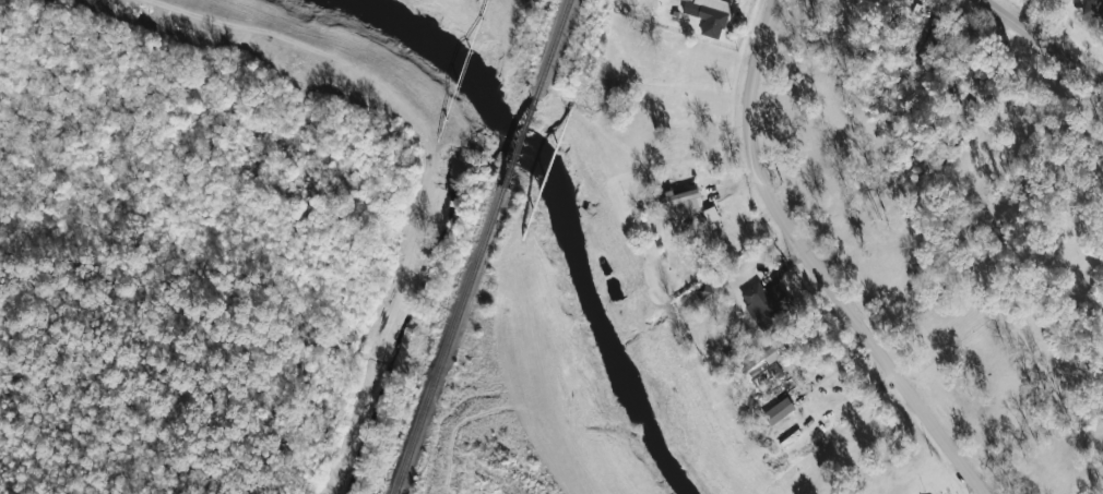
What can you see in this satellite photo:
building: (1094, 9)
building: (709, 15)
road: (1041, 41)
building: (933, 48)
railway: (554, 49)
railway: (521, 142)
river: (557, 192)
building: (684, 198)
road: (813, 264)
building: (702, 290)
building: (764, 303)
railway: (450, 339)
building: (756, 356)
building: (778, 378)
building: (779, 411)

